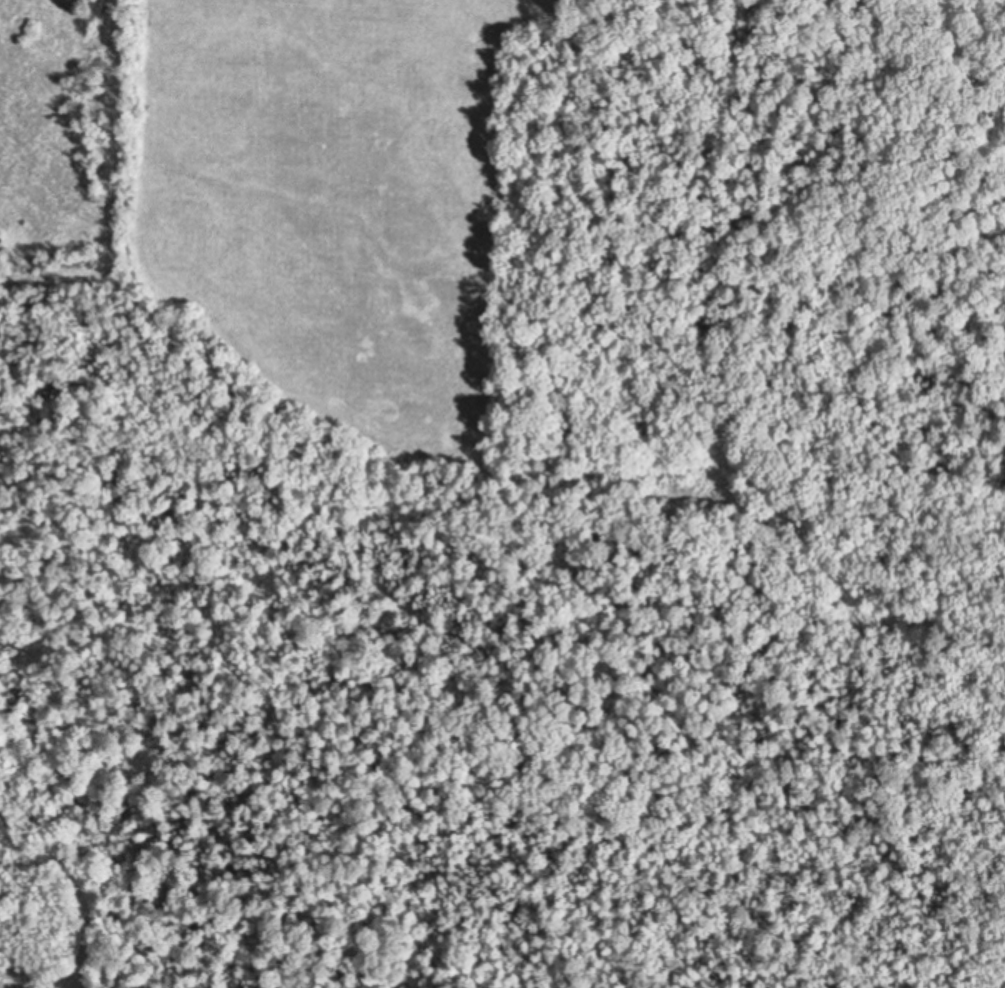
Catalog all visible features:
building: (87, 981)

